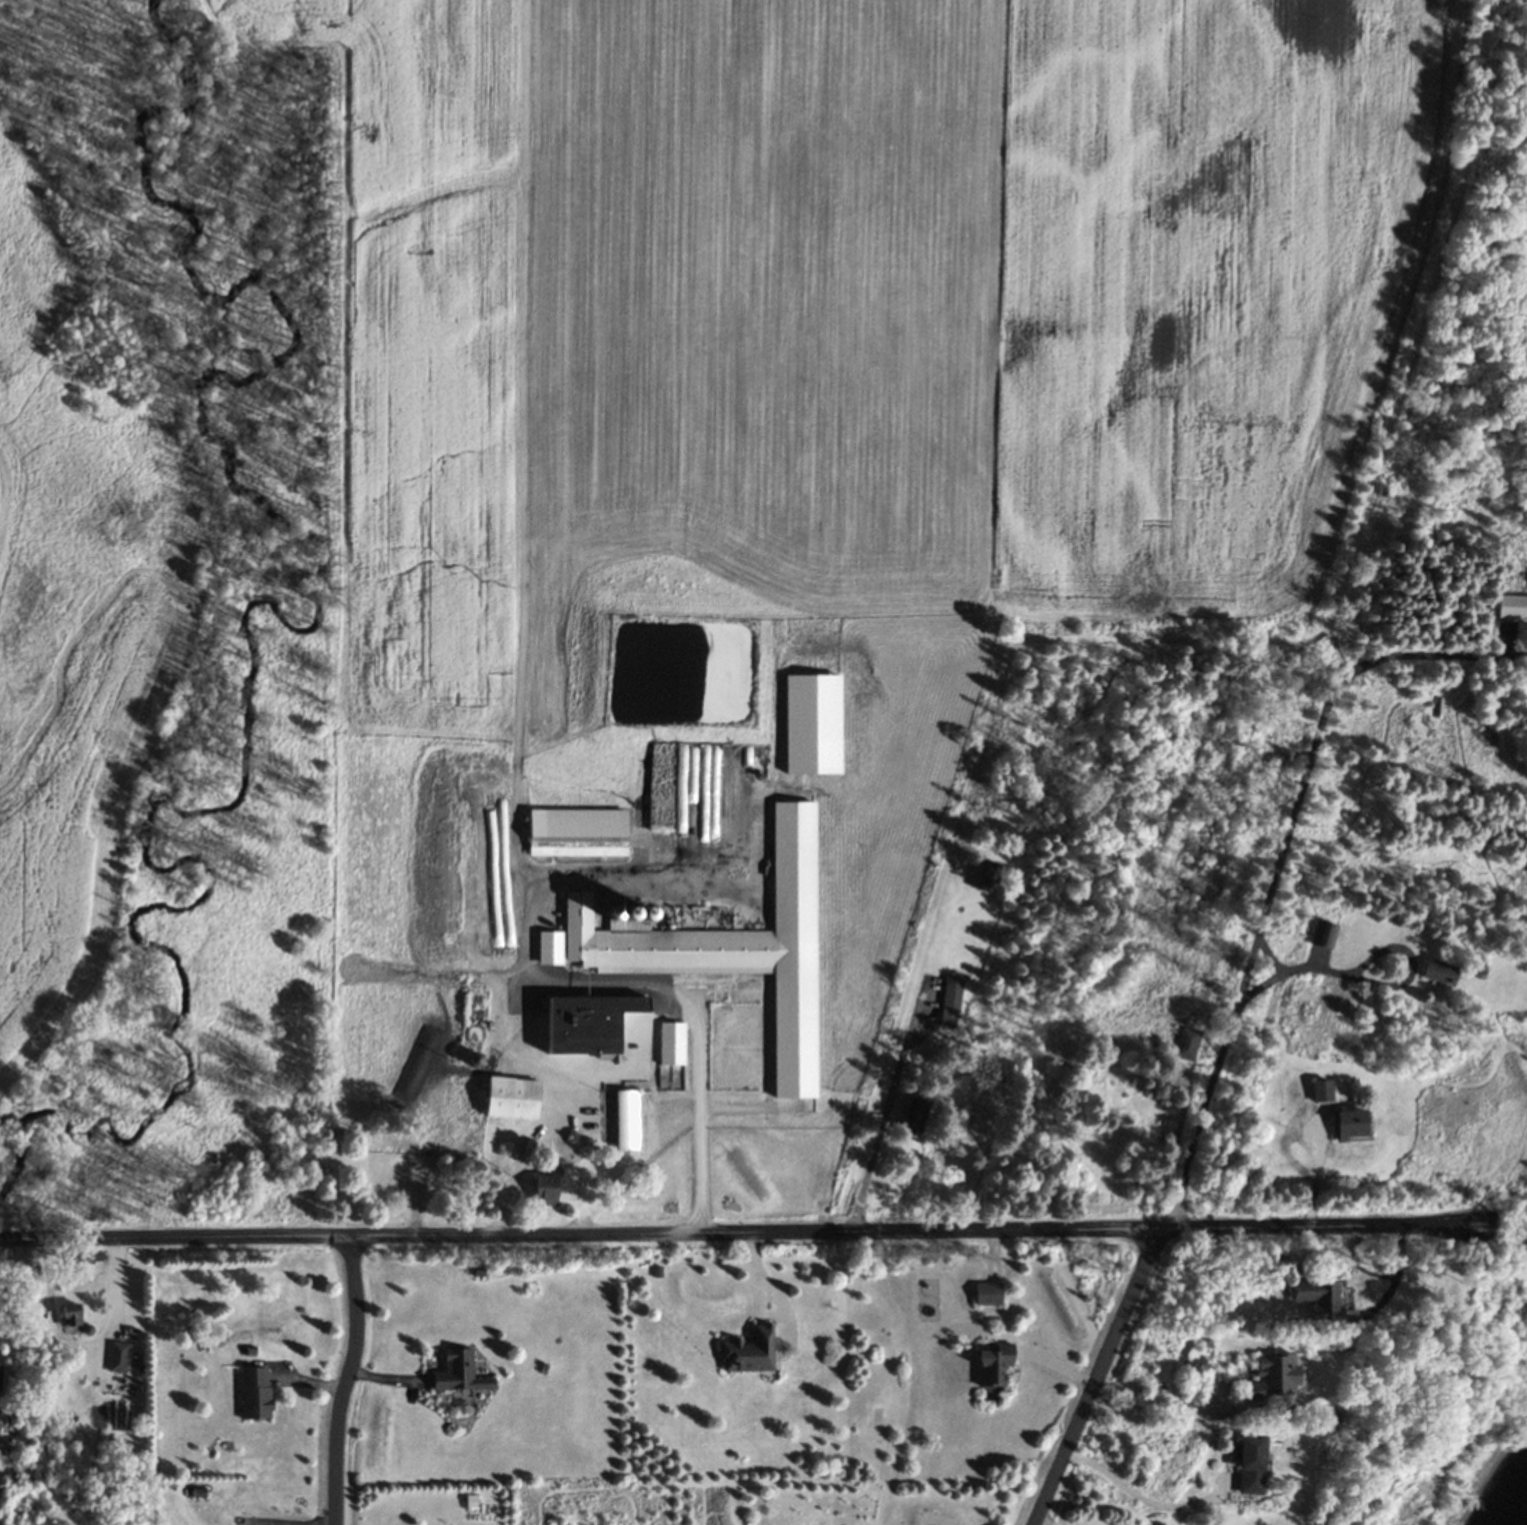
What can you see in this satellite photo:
building: (579, 823)
road: (1278, 857)
building: (988, 878)
building: (1326, 937)
building: (646, 941)
road: (1269, 954)
road: (588, 976)
road: (1370, 978)
building: (950, 1001)
building: (567, 1032)
building: (472, 1033)
building: (669, 1043)
building: (1187, 1043)
building: (1317, 1090)
building: (508, 1097)
building: (909, 1105)
building: (625, 1119)
road: (882, 1120)
building: (1345, 1125)
building: (393, 1162)
road: (738, 1231)
road: (34, 1271)
road: (24, 1278)
road: (769, 1284)
building: (985, 1294)
building: (1319, 1300)
building: (73, 1317)
road: (80, 1346)
building: (745, 1351)
building: (119, 1357)
building: (991, 1362)
building: (460, 1371)
road: (1095, 1376)
building: (1267, 1377)
road: (344, 1378)
building: (256, 1394)
road: (1165, 1415)
building: (0, 1457)
building: (1244, 1465)
road: (1136, 1494)
road: (935, 1521)
road: (1043, 1522)

